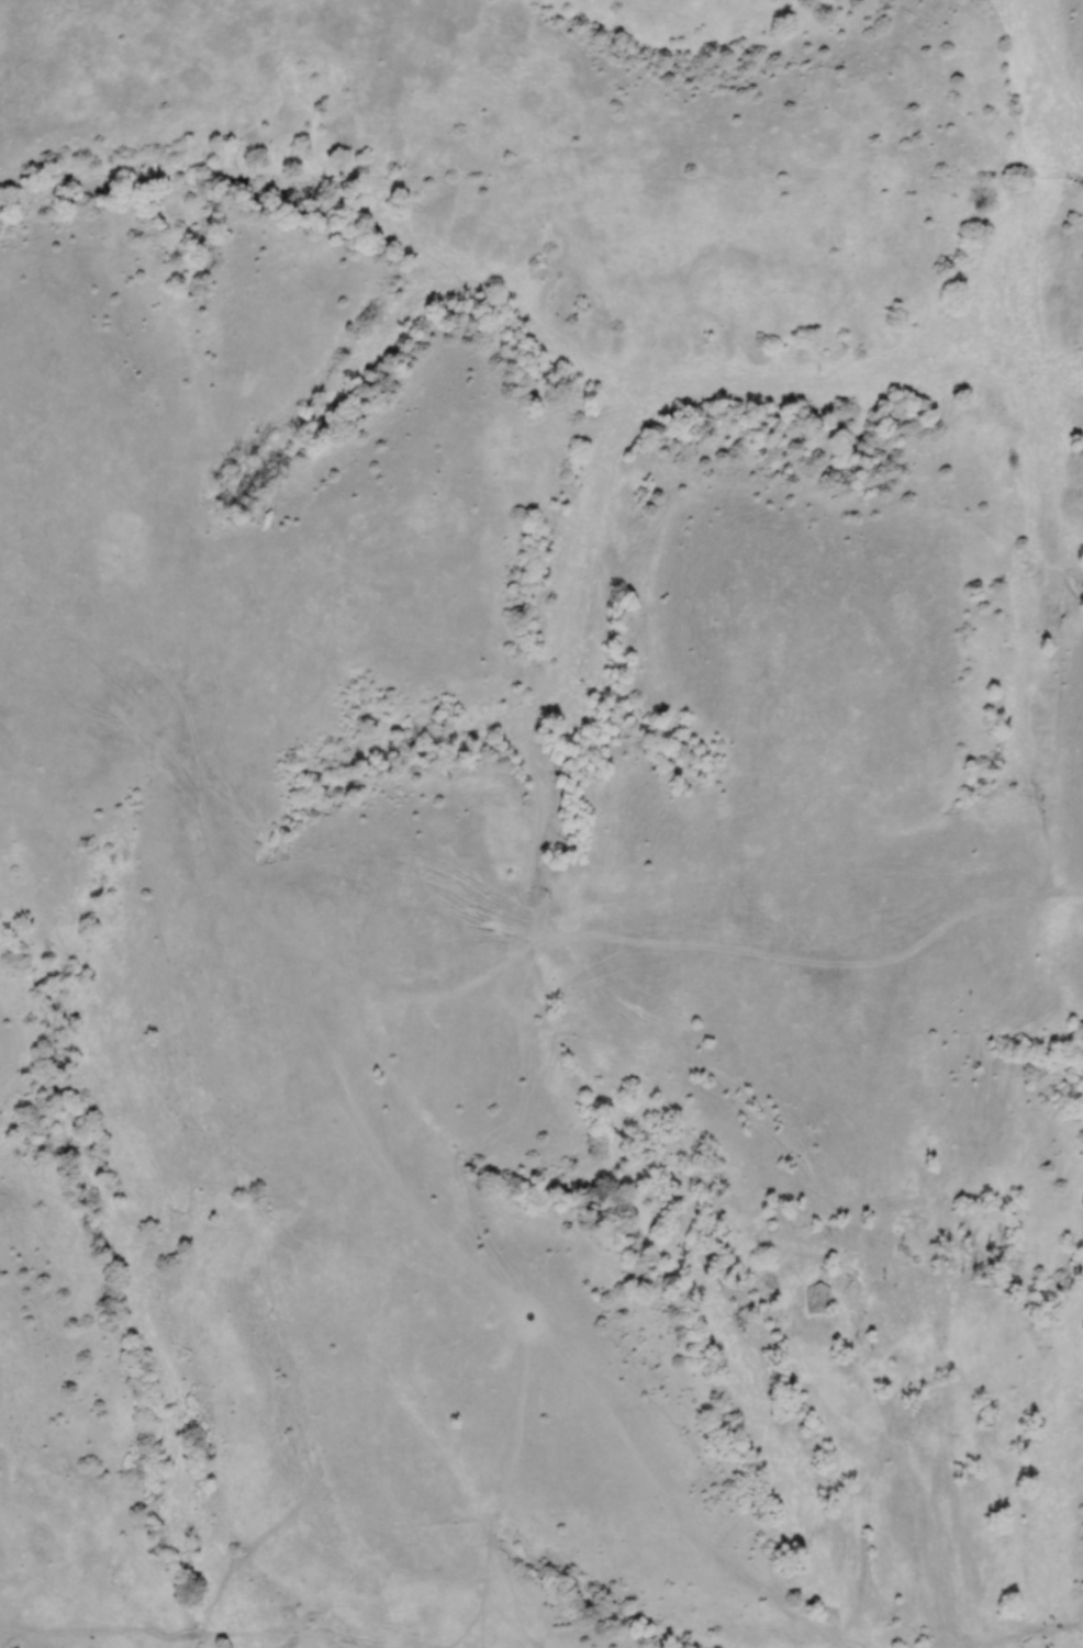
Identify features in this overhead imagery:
building: (824, 1301)

